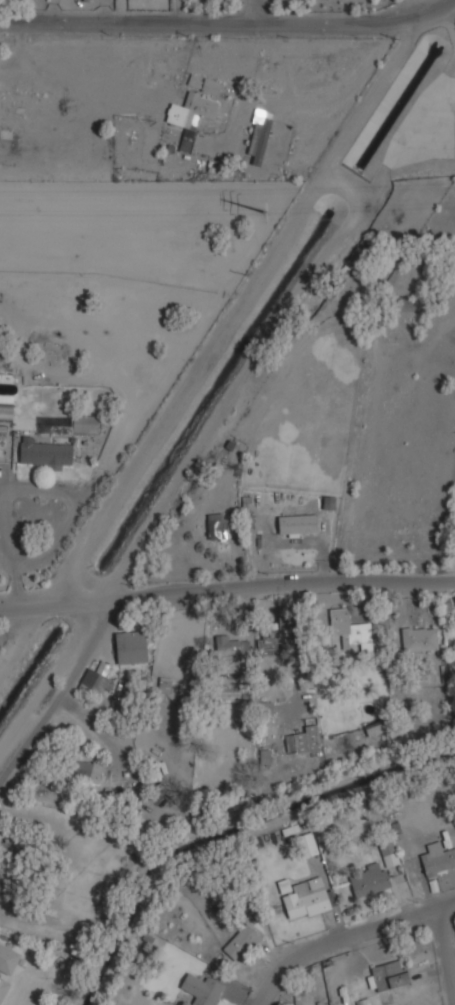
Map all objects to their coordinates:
building: (87, 0)
road: (257, 8)
road: (225, 17)
building: (211, 86)
building: (21, 99)
building: (192, 114)
building: (261, 134)
power tower: (267, 213)
road: (234, 313)
building: (6, 406)
building: (55, 424)
building: (87, 425)
building: (45, 453)
road: (23, 487)
building: (297, 524)
building: (218, 528)
road: (227, 590)
building: (454, 627)
building: (454, 628)
building: (352, 632)
building: (280, 636)
building: (420, 639)
building: (132, 648)
building: (231, 653)
building: (94, 681)
building: (165, 685)
road: (58, 692)
building: (376, 727)
building: (206, 732)
building: (304, 741)
building: (266, 756)
building: (87, 771)
building: (160, 790)
building: (308, 844)
building: (11, 849)
building: (390, 853)
building: (438, 859)
building: (368, 881)
building: (308, 898)
road: (346, 937)
building: (241, 941)
road: (447, 954)
building: (8, 959)
building: (388, 976)
building: (4, 987)
building: (204, 989)
building: (364, 1001)

